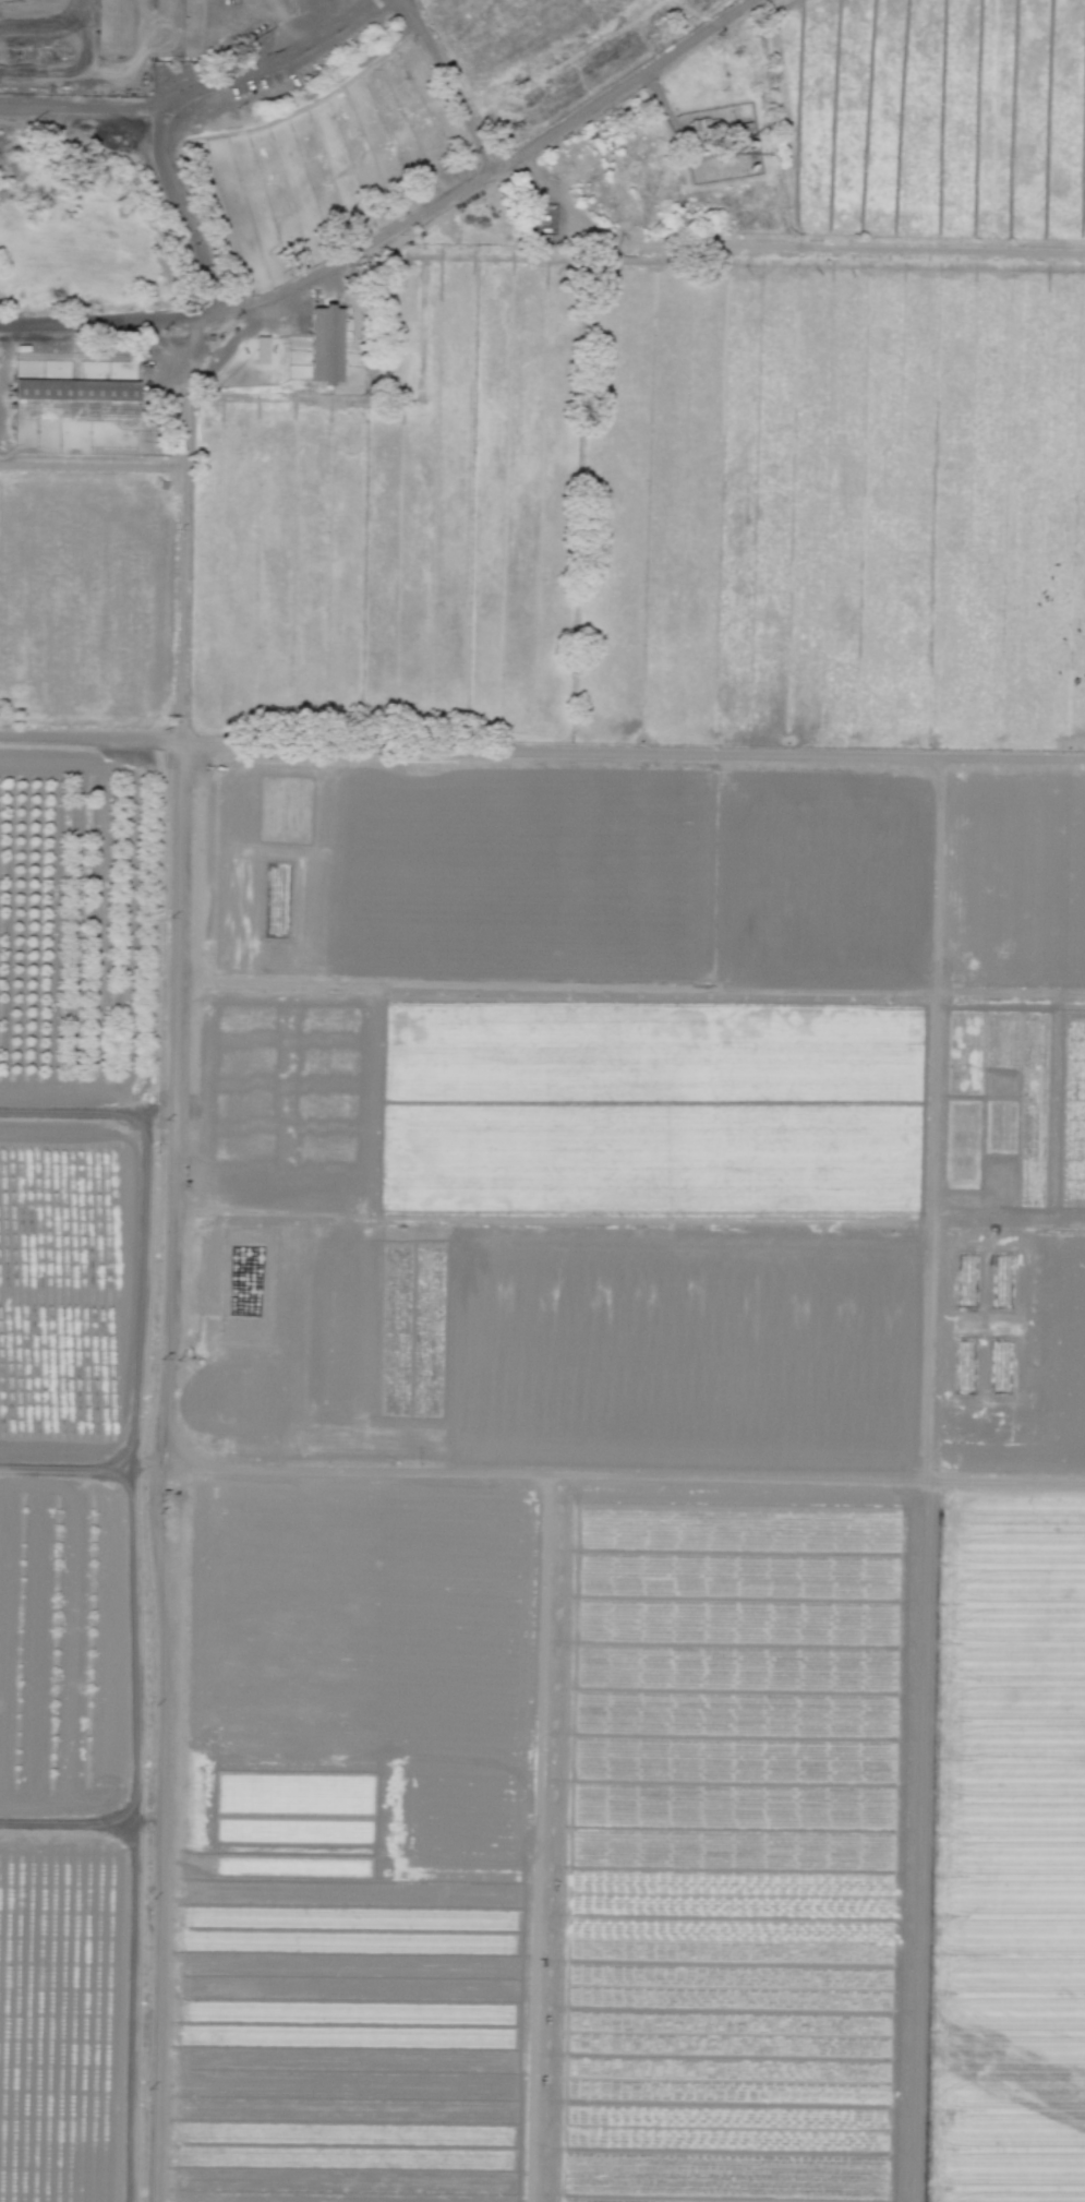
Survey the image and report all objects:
road: (286, 22)
building: (117, 27)
building: (198, 27)
road: (100, 71)
road: (448, 84)
road: (192, 91)
road: (666, 116)
road: (493, 171)
road: (178, 207)
road: (785, 246)
road: (108, 321)
building: (325, 344)
road: (4, 345)
building: (261, 348)
building: (76, 400)
road: (182, 526)
road: (542, 747)
road: (85, 1111)
crop: (568, 1217)
road: (141, 1289)
road: (153, 1471)
road: (132, 1641)

